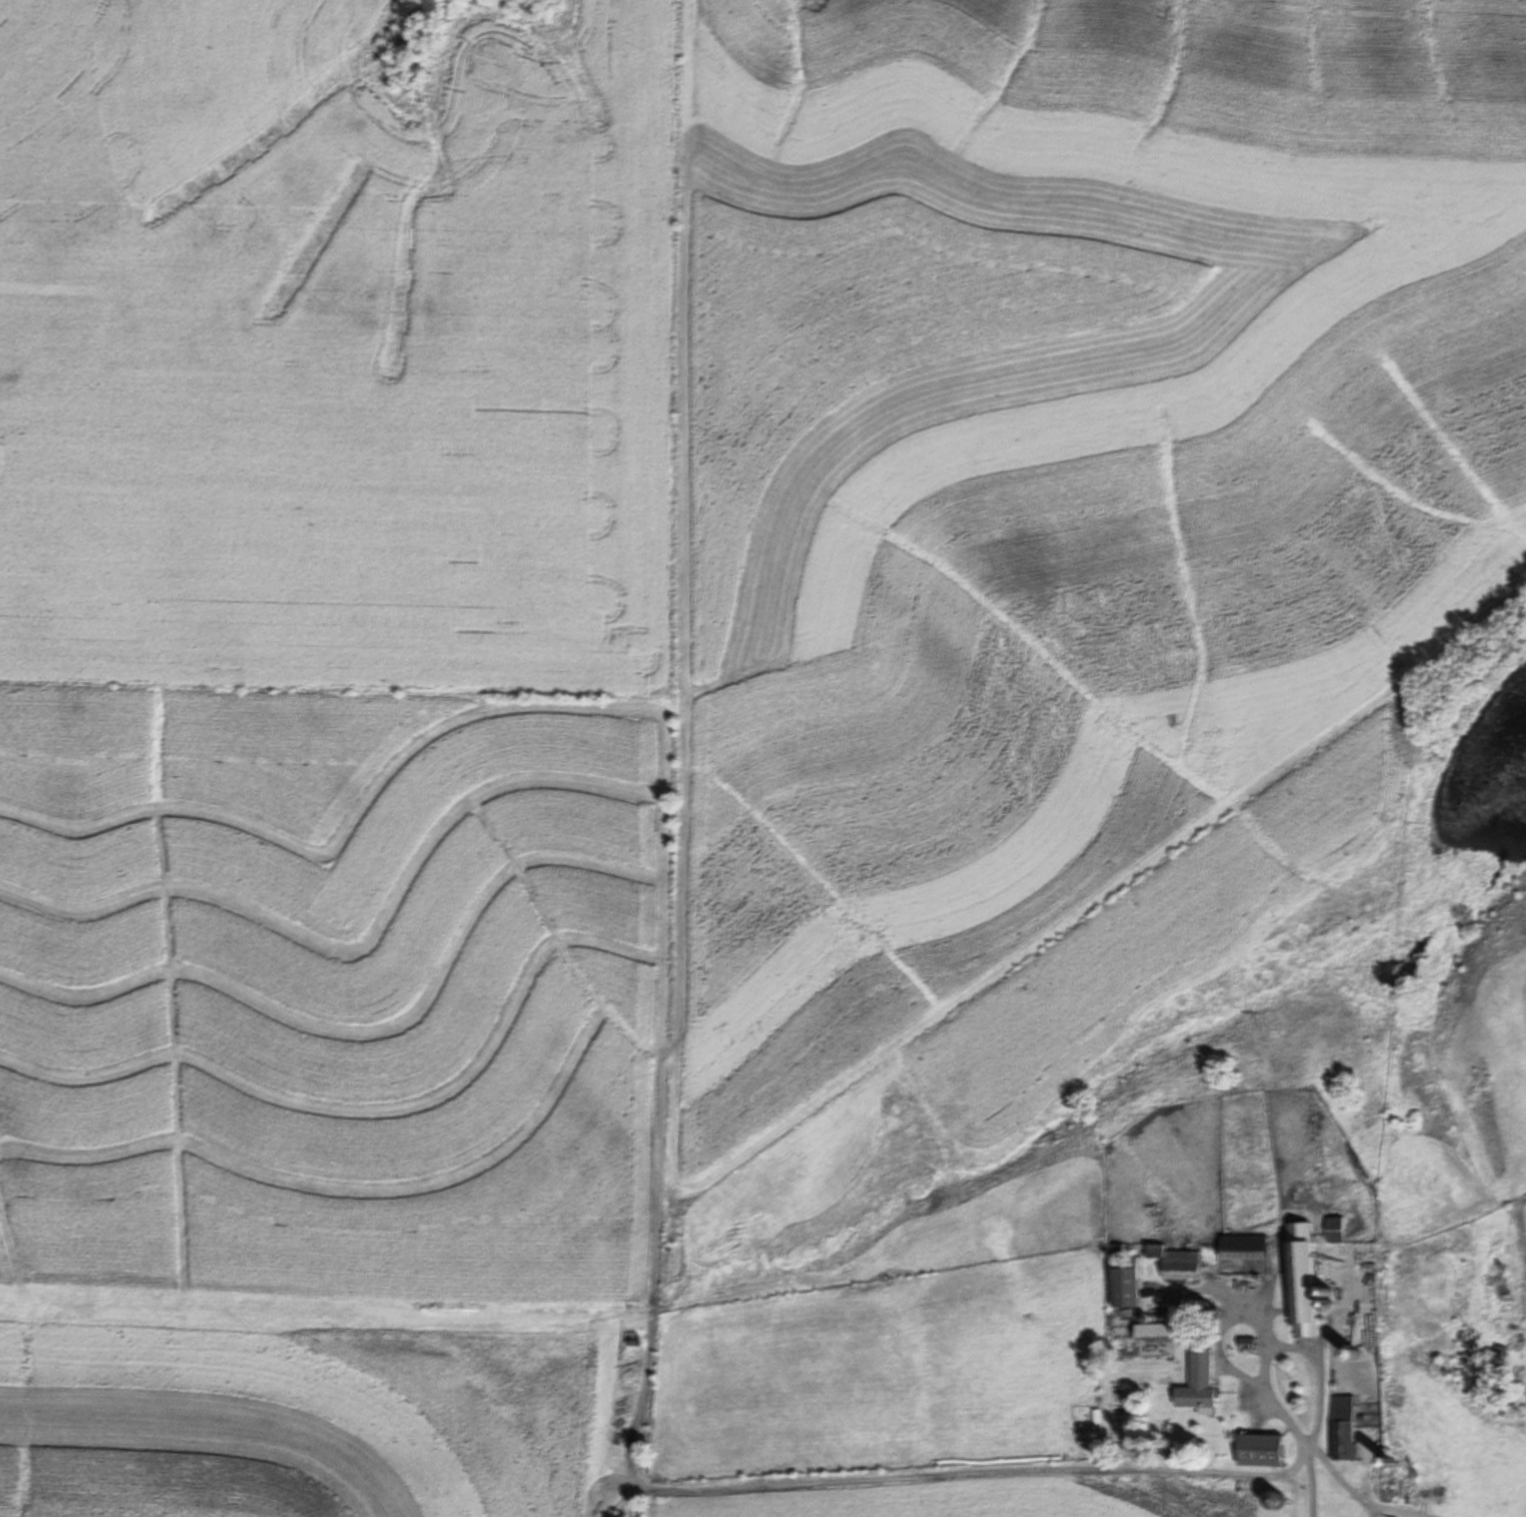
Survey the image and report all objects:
building: (1335, 1230)
building: (1247, 1246)
building: (1176, 1262)
building: (1300, 1278)
building: (1125, 1281)
building: (1152, 1330)
building: (1197, 1380)
building: (1342, 1427)
building: (1260, 1449)
road: (1325, 1469)
building: (1271, 1499)

